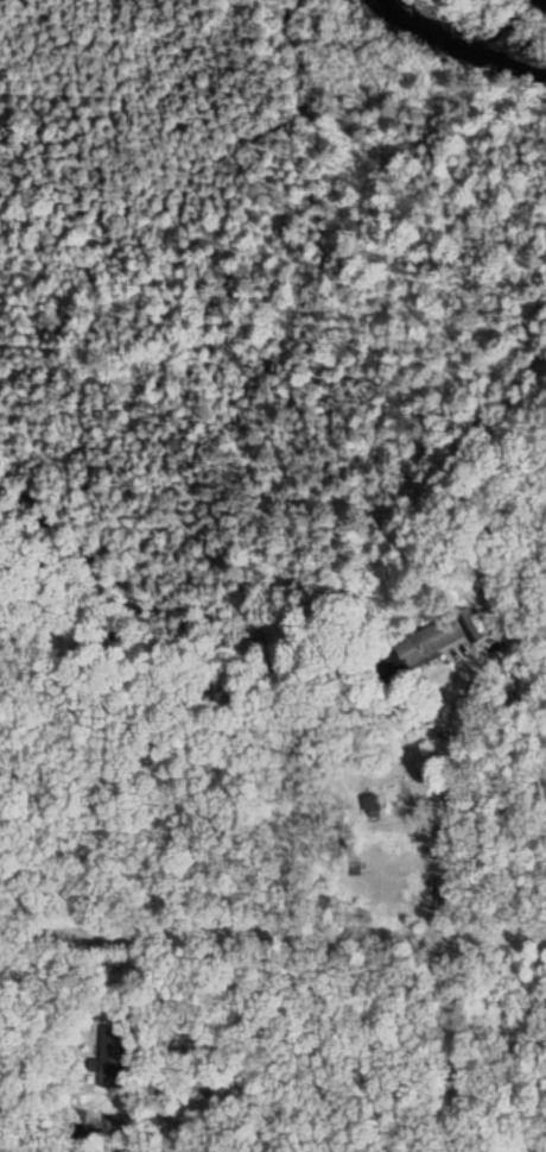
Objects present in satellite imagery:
building: (430, 641)
building: (370, 805)
road: (497, 932)
building: (114, 1056)

